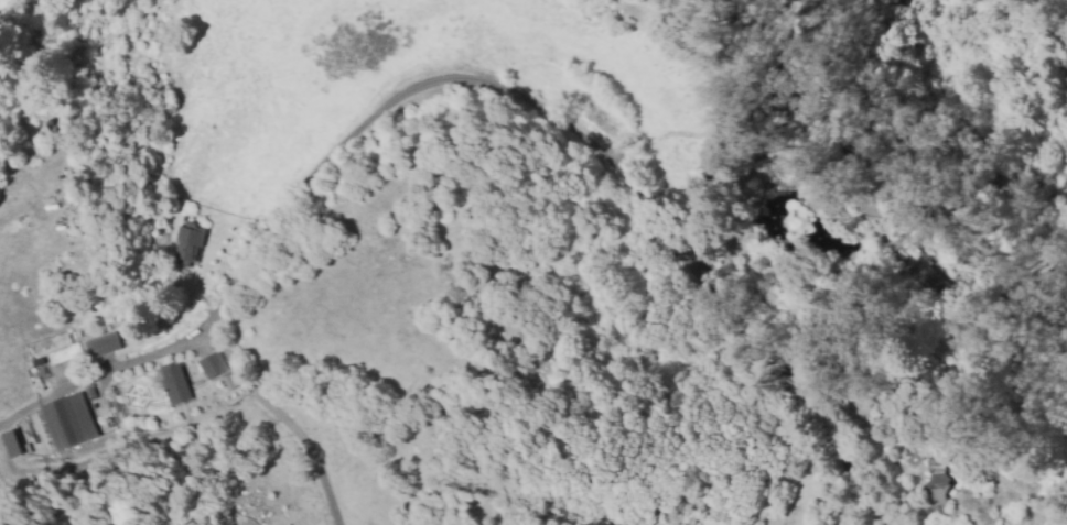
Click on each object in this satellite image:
road: (386, 106)
road: (894, 179)
building: (186, 242)
building: (921, 269)
road: (718, 304)
building: (100, 346)
building: (215, 370)
building: (174, 385)
road: (54, 406)
building: (66, 422)
building: (10, 445)
building: (937, 484)

